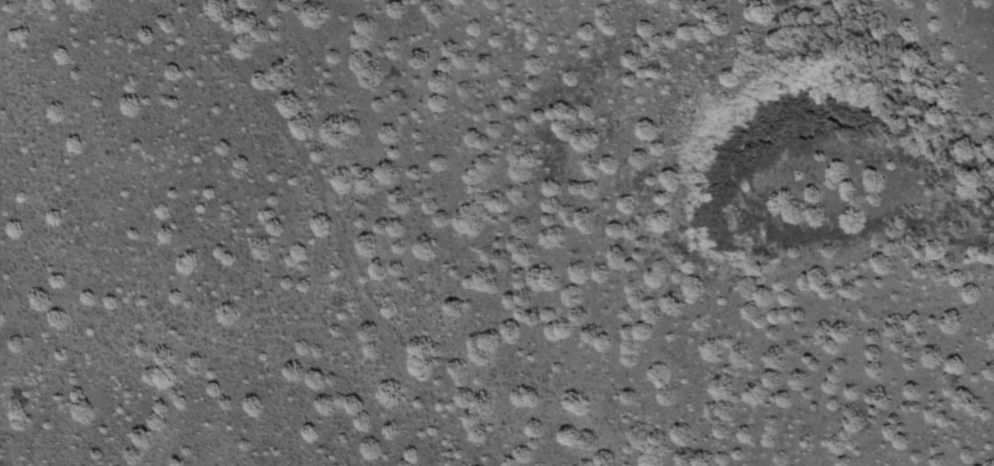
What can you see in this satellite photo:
road: (250, 73)
road: (376, 316)

